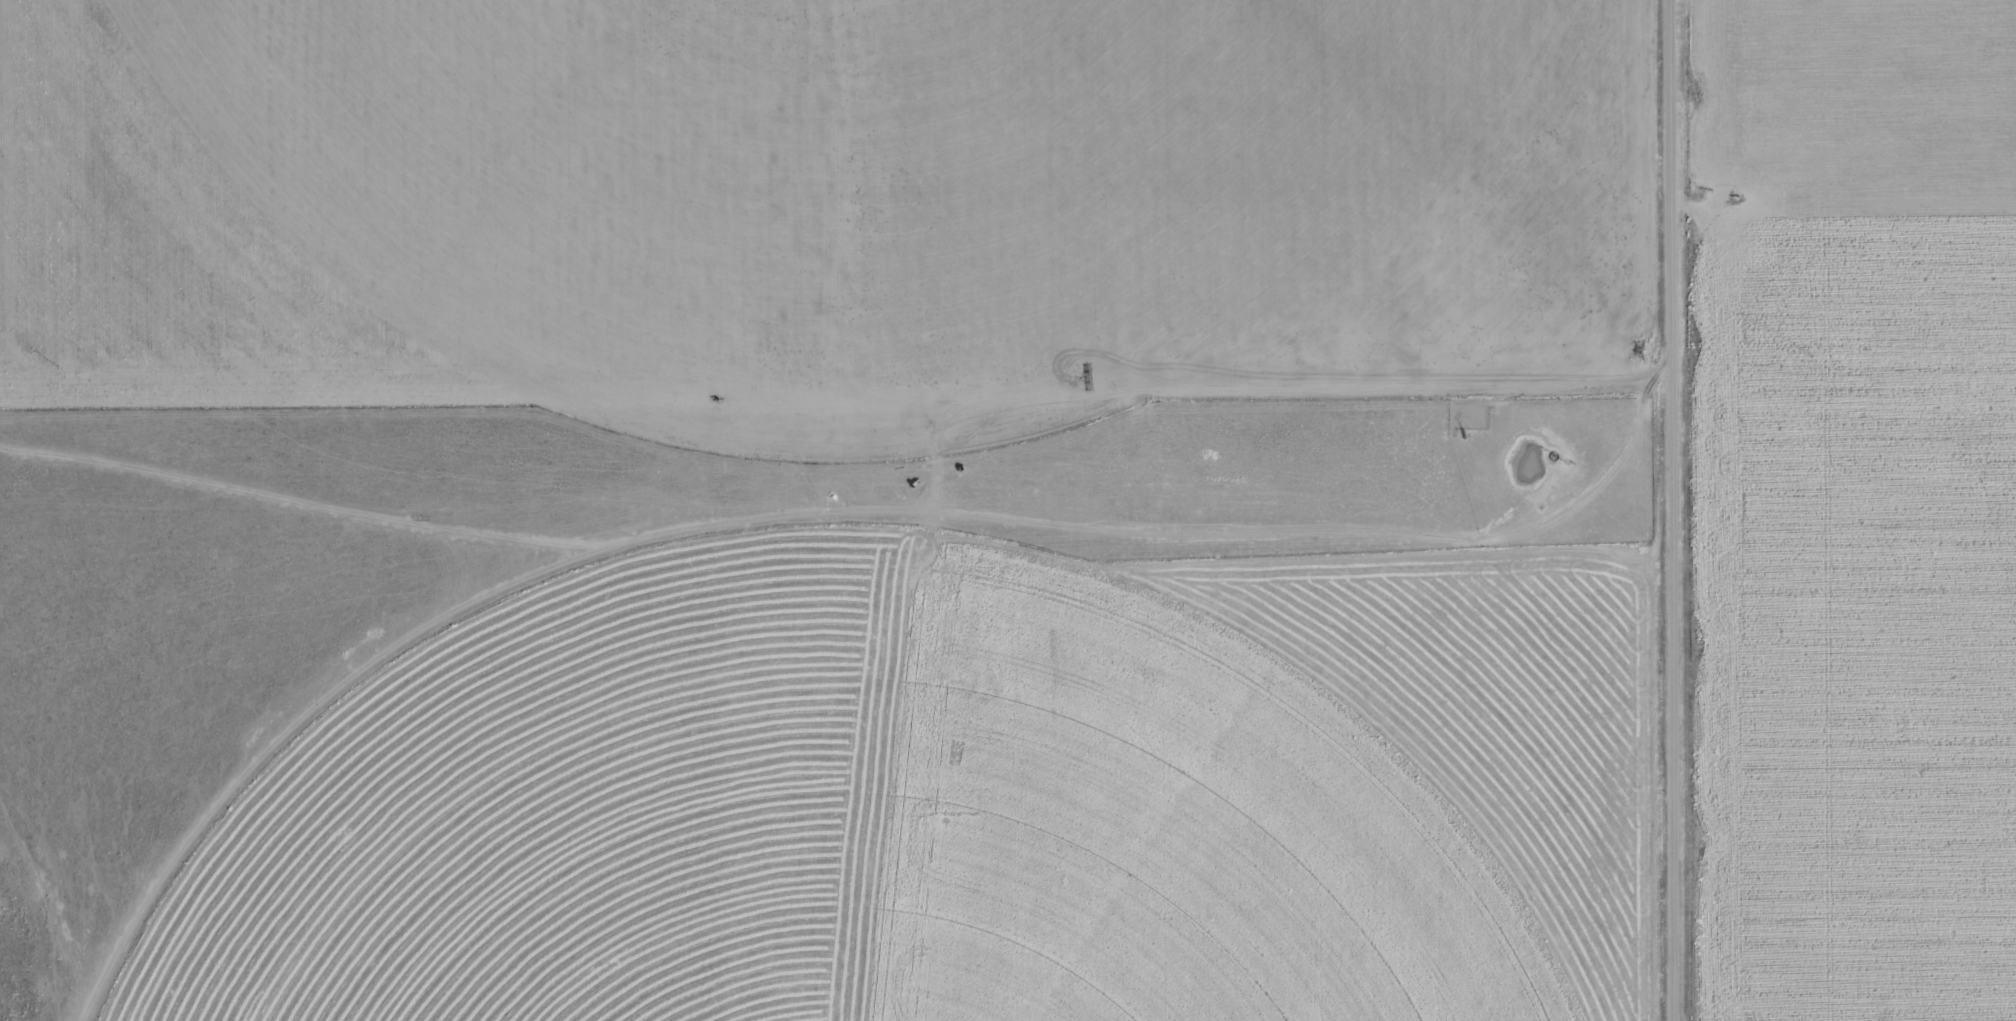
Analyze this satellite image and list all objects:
road: (1674, 510)

